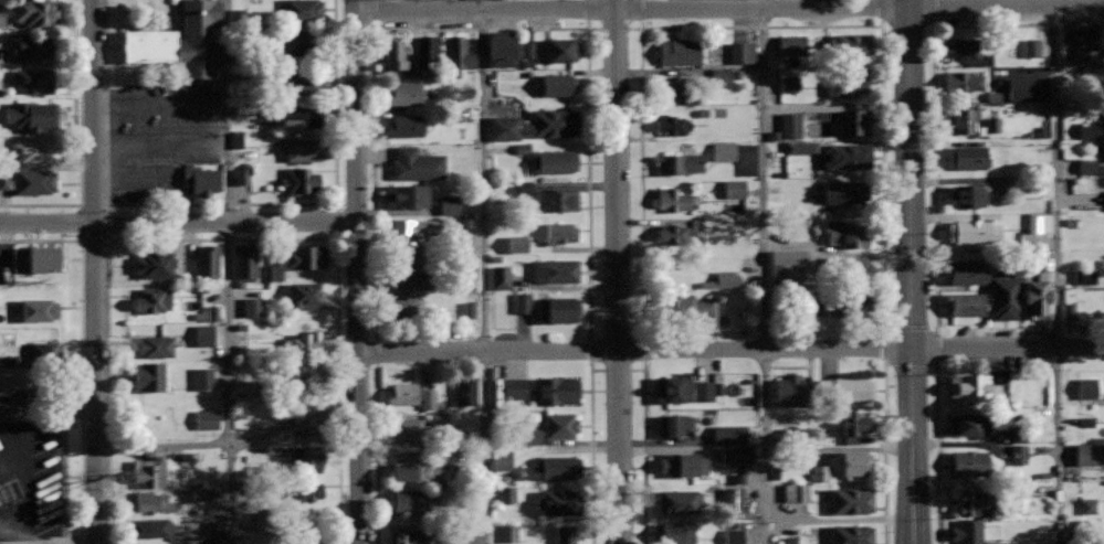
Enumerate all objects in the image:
road: (354, 7)
road: (728, 8)
building: (302, 11)
building: (36, 12)
building: (1, 14)
road: (760, 26)
road: (476, 29)
building: (180, 40)
building: (301, 41)
building: (1076, 44)
building: (791, 45)
building: (31, 46)
building: (851, 46)
building: (501, 47)
building: (1008, 47)
building: (557, 49)
building: (963, 49)
building: (1030, 49)
building: (427, 50)
building: (679, 51)
building: (395, 53)
building: (459, 53)
building: (742, 53)
building: (526, 54)
building: (1096, 73)
building: (1070, 77)
building: (719, 78)
building: (34, 79)
building: (304, 82)
building: (965, 83)
building: (557, 84)
building: (844, 84)
building: (788, 85)
building: (677, 87)
building: (1020, 88)
building: (403, 93)
building: (32, 114)
building: (297, 118)
building: (854, 120)
building: (961, 120)
building: (551, 122)
building: (673, 124)
building: (404, 125)
building: (789, 125)
building: (989, 127)
building: (1091, 130)
building: (235, 139)
road: (78, 141)
building: (800, 147)
building: (35, 148)
building: (304, 148)
building: (723, 150)
building: (847, 154)
building: (967, 157)
building: (554, 160)
building: (679, 162)
building: (417, 163)
building: (1086, 167)
building: (241, 175)
road: (935, 175)
building: (3, 178)
building: (203, 180)
building: (302, 180)
building: (34, 181)
building: (524, 189)
building: (733, 189)
building: (845, 191)
building: (967, 194)
building: (407, 195)
building: (673, 199)
building: (559, 200)
road: (219, 204)
building: (448, 204)
road: (177, 223)
building: (1039, 223)
building: (412, 231)
building: (974, 231)
building: (560, 232)
building: (848, 233)
building: (675, 234)
building: (516, 243)
building: (1042, 258)
building: (34, 259)
building: (207, 260)
building: (297, 260)
building: (244, 263)
building: (154, 264)
building: (784, 265)
building: (555, 270)
building: (681, 270)
building: (966, 270)
road: (93, 271)
road: (229, 271)
road: (484, 271)
road: (618, 271)
road: (765, 271)
road: (910, 271)
road: (1056, 271)
building: (412, 276)
building: (500, 277)
road: (335, 278)
road: (355, 279)
building: (723, 279)
building: (304, 294)
building: (1084, 295)
building: (1005, 298)
building: (1035, 298)
building: (153, 299)
building: (522, 302)
building: (966, 302)
building: (849, 305)
building: (251, 307)
building: (400, 307)
building: (694, 307)
building: (822, 308)
building: (36, 309)
building: (469, 309)
building: (558, 309)
building: (212, 312)
building: (203, 334)
building: (1, 335)
building: (303, 341)
road: (80, 344)
building: (156, 345)
road: (729, 349)
building: (48, 351)
building: (312, 373)
building: (149, 376)
building: (202, 377)
building: (674, 387)
building: (971, 387)
building: (1086, 387)
road: (107, 388)
building: (466, 390)
building: (556, 390)
building: (702, 390)
building: (790, 390)
building: (844, 390)
building: (401, 394)
building: (43, 396)
building: (427, 398)
road: (46, 415)
building: (302, 415)
building: (206, 419)
building: (1085, 422)
building: (968, 424)
building: (560, 425)
building: (677, 425)
building: (853, 426)
building: (409, 429)
building: (728, 434)
building: (1018, 434)
road: (590, 452)
road: (642, 452)
road: (884, 452)
road: (936, 452)
road: (376, 454)
building: (1018, 454)
building: (735, 455)
building: (1089, 455)
building: (307, 459)
building: (500, 460)
building: (856, 462)
building: (968, 462)
building: (682, 463)
building: (555, 467)
building: (414, 468)
building: (150, 471)
building: (819, 472)
parking lot: (32, 482)
building: (7, 491)
building: (299, 491)
building: (796, 492)
building: (200, 493)
building: (505, 494)
building: (852, 499)
building: (679, 500)
building: (156, 501)
building: (407, 501)
building: (559, 501)
building: (974, 502)
building: (1087, 506)
road: (25, 520)
building: (309, 520)
building: (259, 523)
building: (150, 527)
building: (213, 527)
road: (13, 531)
building: (967, 531)
building: (508, 533)
building: (674, 533)
building: (565, 534)
building: (851, 534)
building: (733, 535)
building: (407, 536)
building: (312, 538)
building: (791, 540)
building: (208, 542)
road: (62, 543)
building: (995, 543)

